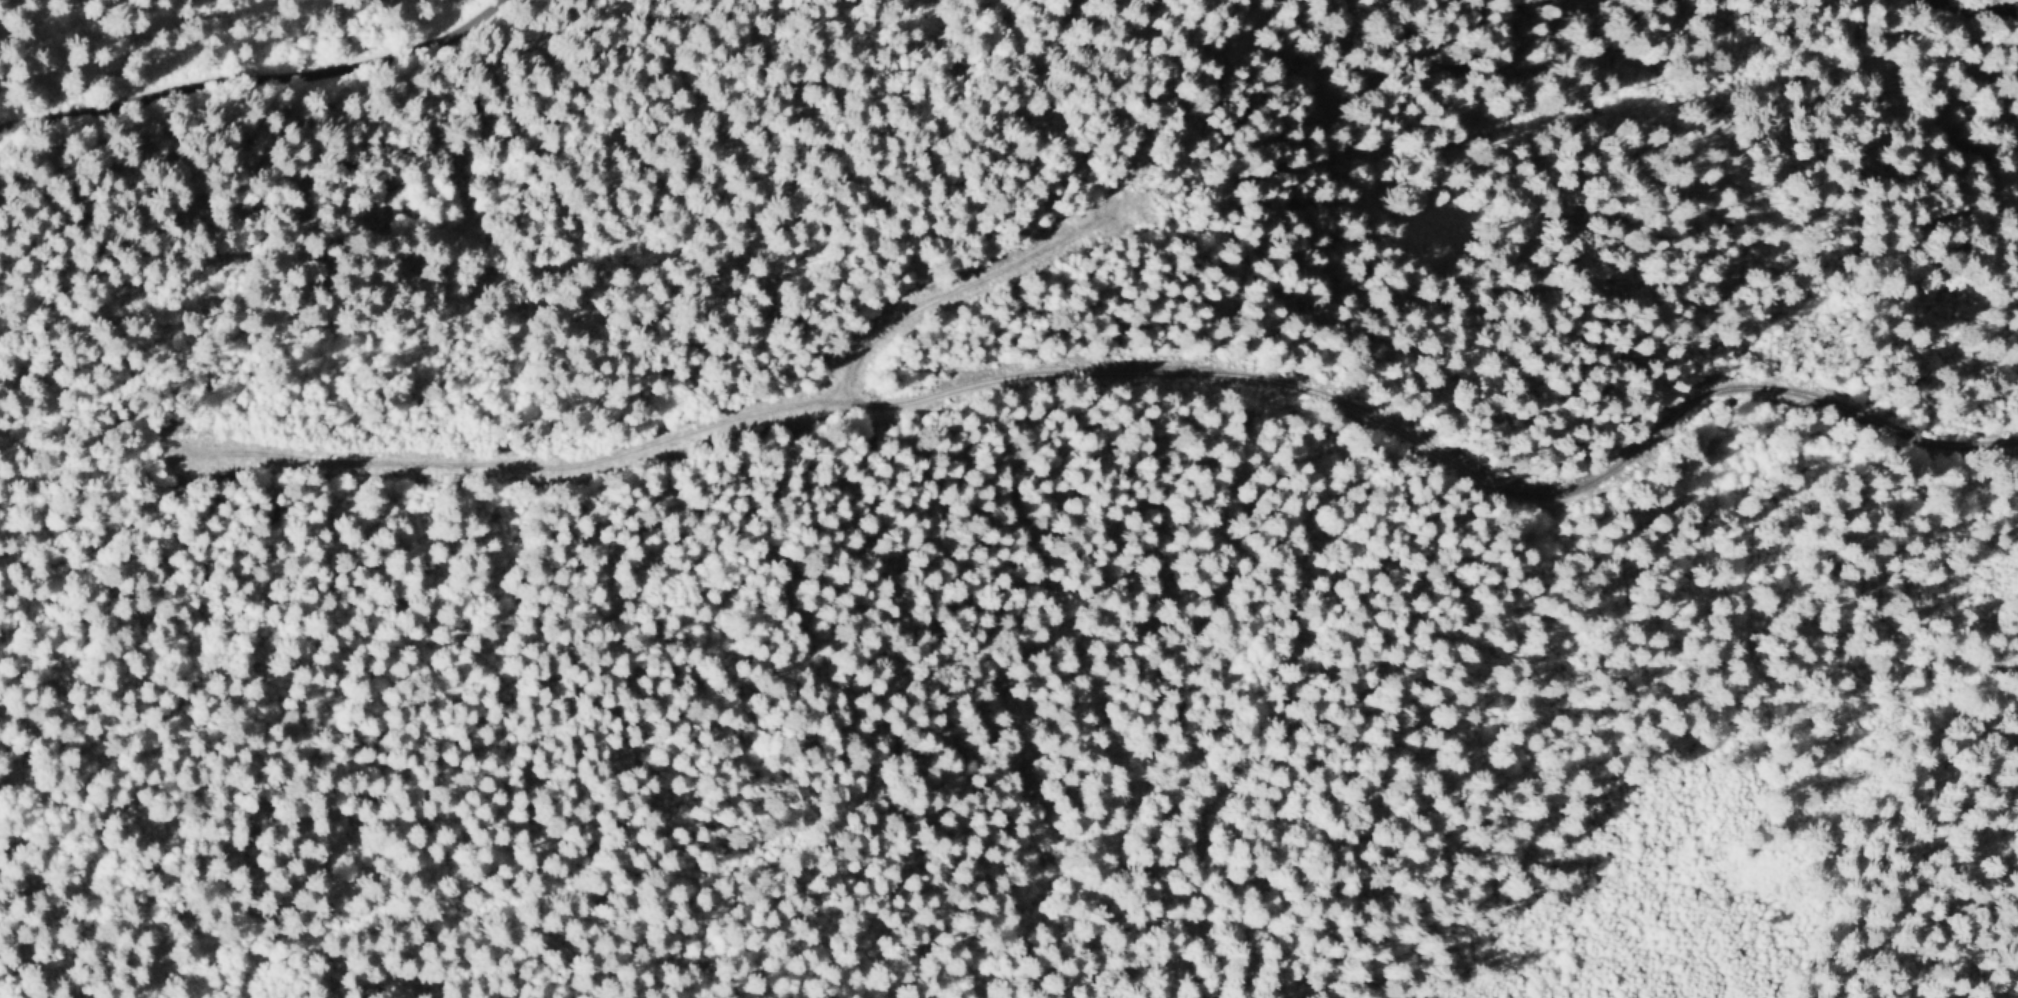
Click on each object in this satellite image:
road: (1991, 4)
road: (268, 81)
road: (1285, 384)
road: (528, 462)

